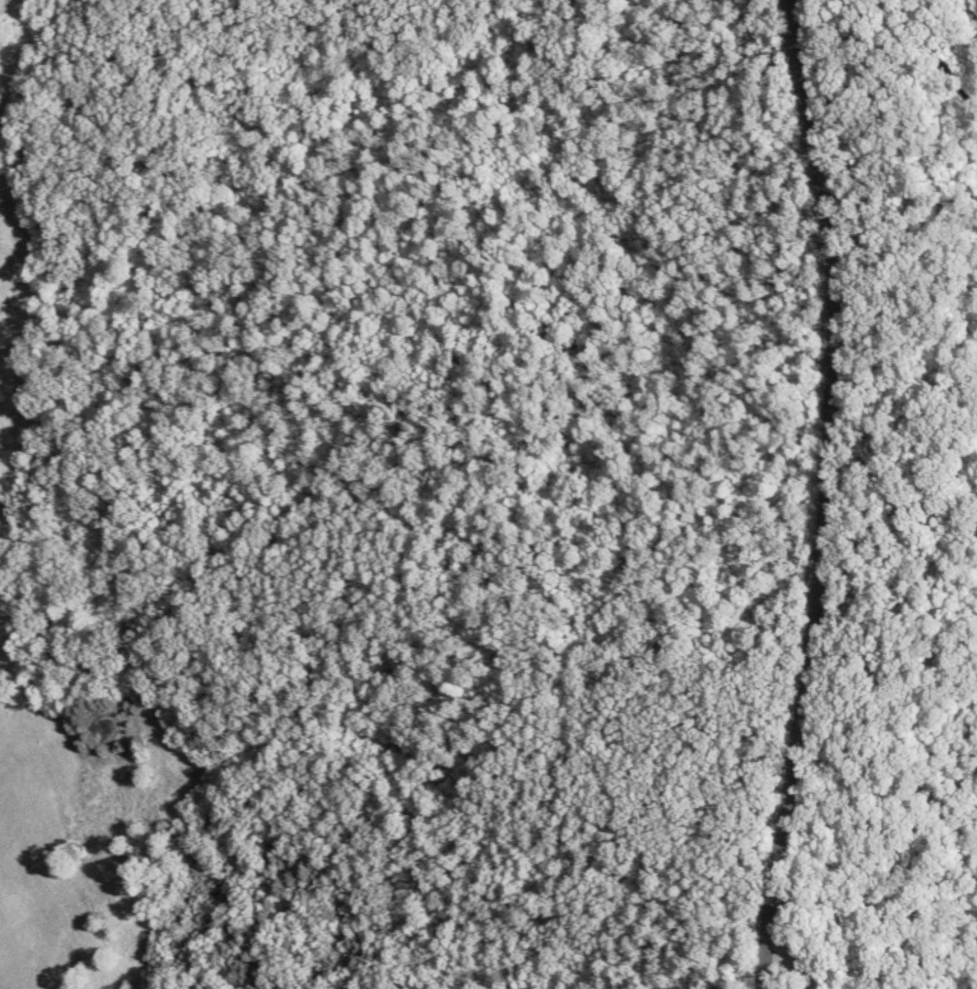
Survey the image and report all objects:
road: (932, 52)
road: (834, 496)
road: (802, 946)

